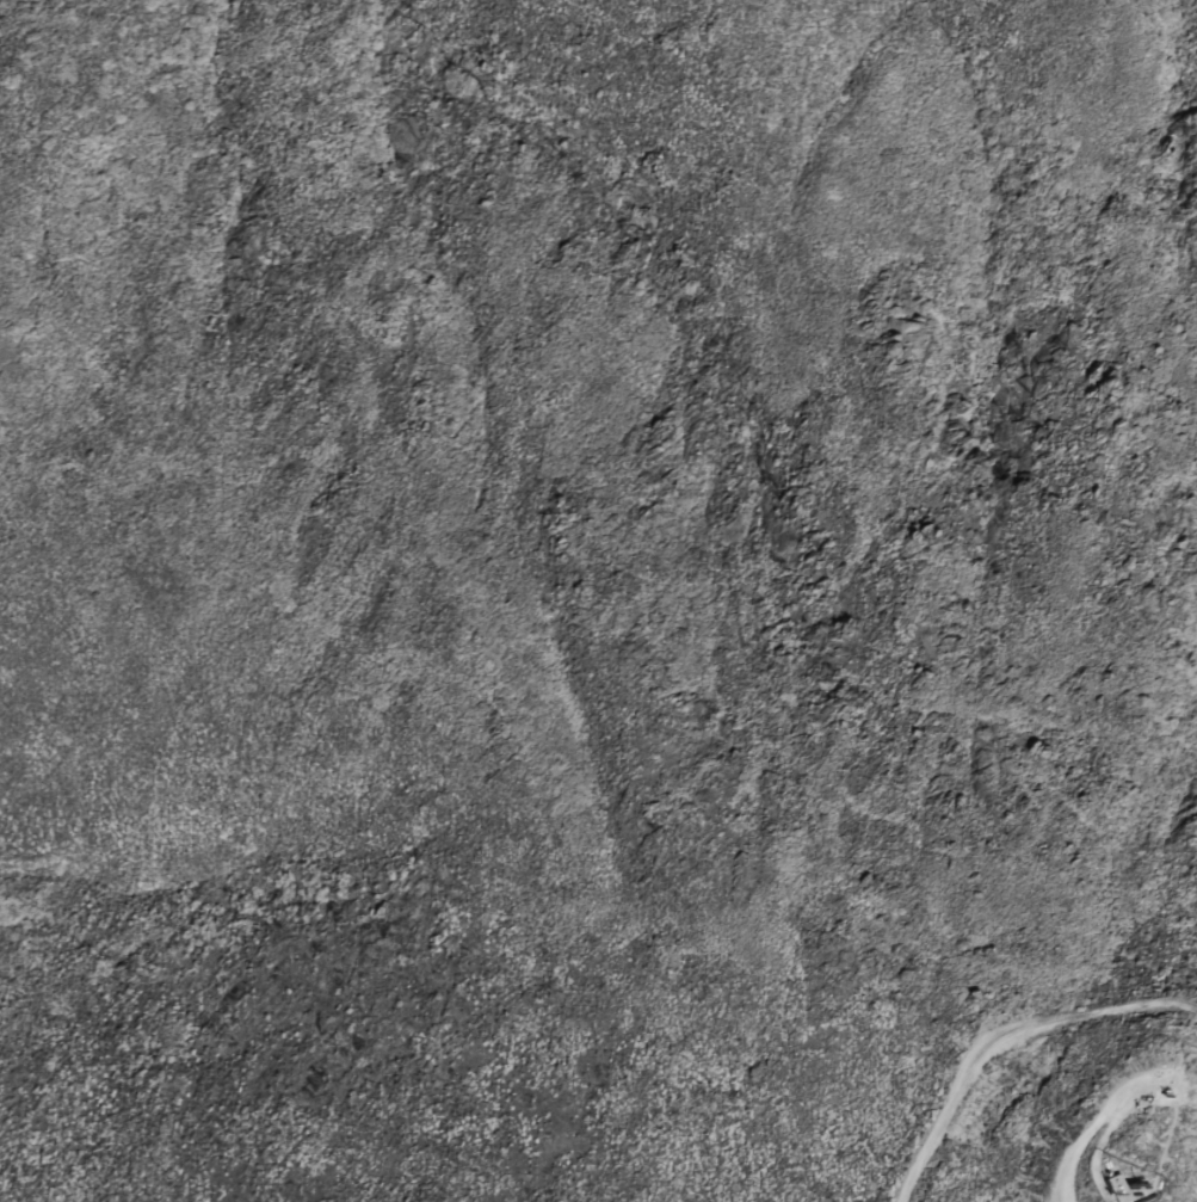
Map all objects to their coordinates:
road: (1002, 1033)
road: (1143, 1092)
road: (1187, 1107)
road: (1159, 1135)
building: (1130, 1188)

